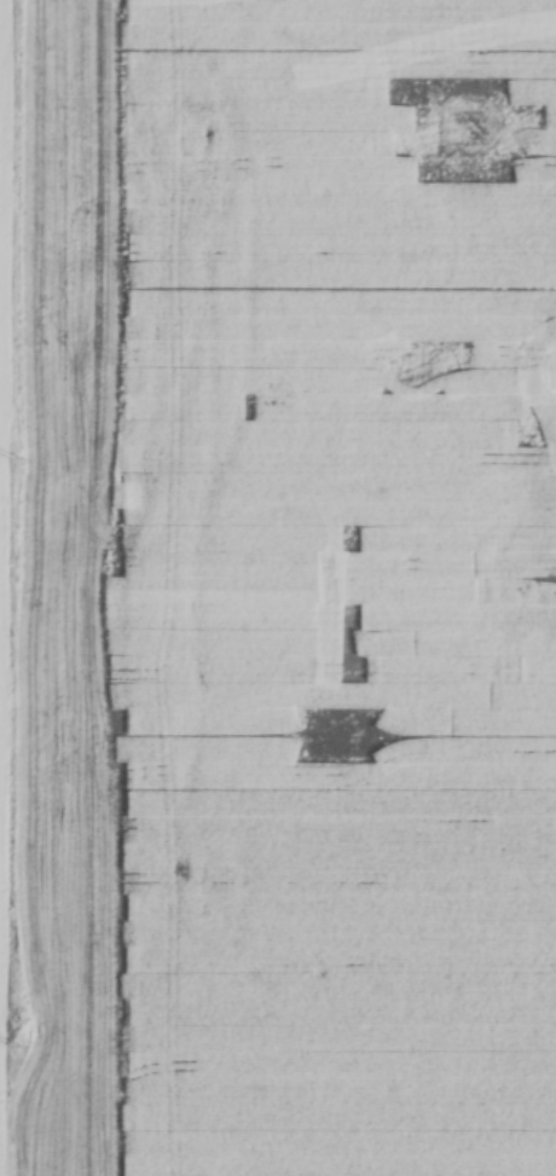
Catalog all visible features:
power tower: (12, 458)
power tower: (12, 1047)

